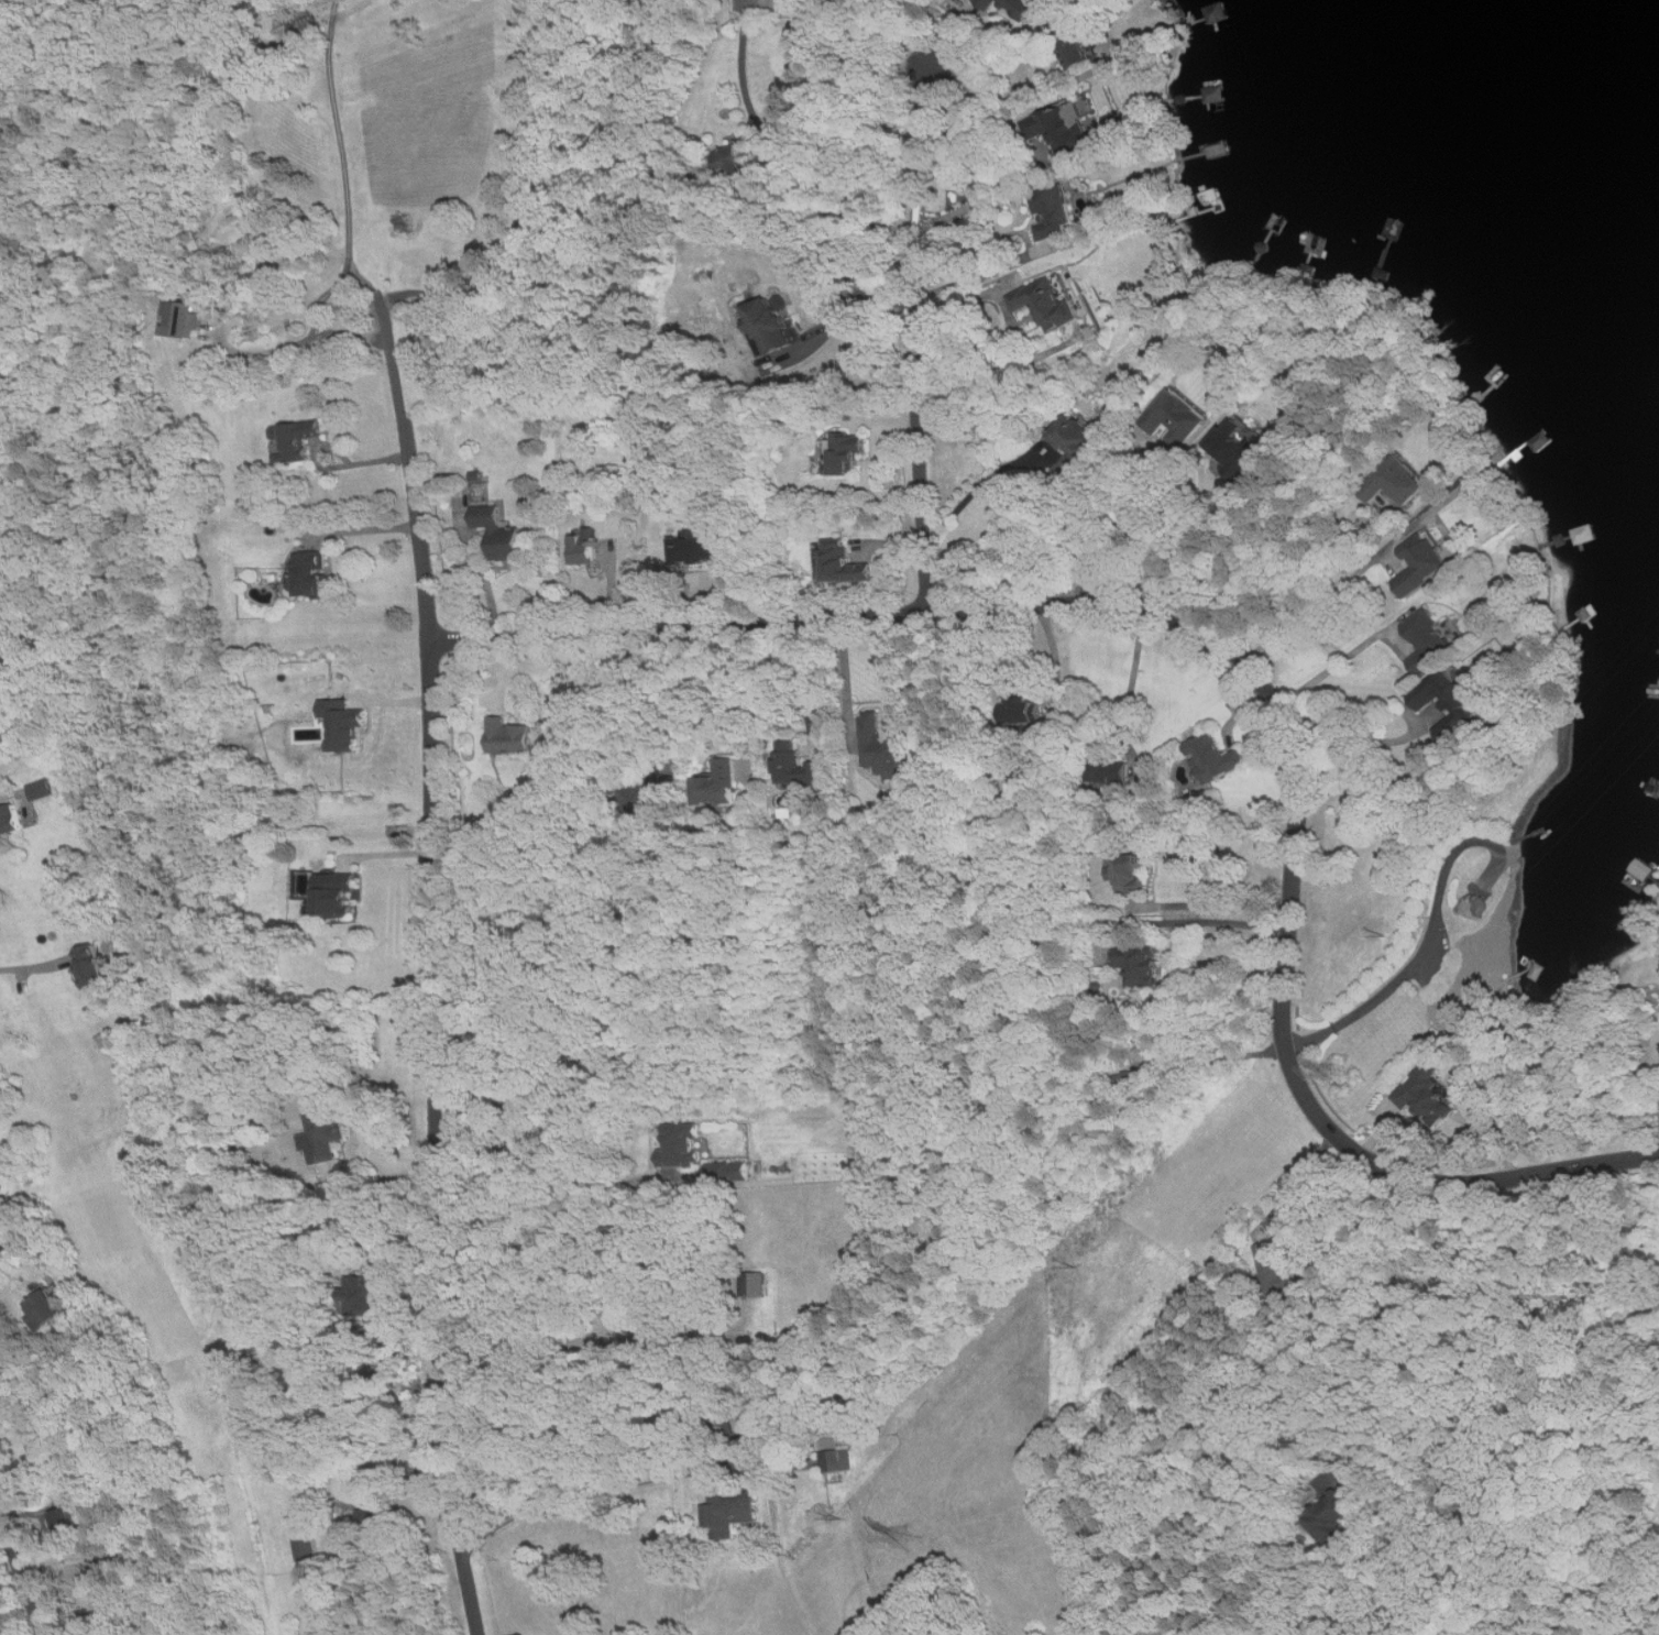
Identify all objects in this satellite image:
building: (990, 3)
building: (794, 4)
building: (1023, 7)
building: (1078, 50)
road: (1014, 99)
building: (1068, 129)
road: (342, 140)
road: (782, 153)
road: (985, 195)
road: (528, 196)
building: (1055, 217)
road: (974, 277)
road: (320, 297)
road: (852, 306)
building: (184, 317)
building: (771, 325)
road: (1011, 332)
road: (916, 338)
building: (1175, 418)
building: (1079, 436)
building: (298, 437)
building: (1241, 443)
building: (845, 451)
road: (339, 465)
building: (1396, 482)
road: (982, 484)
road: (1150, 497)
road: (363, 529)
building: (499, 531)
road: (1190, 540)
building: (700, 544)
building: (583, 547)
building: (1422, 562)
building: (846, 566)
road: (484, 570)
building: (309, 573)
road: (1308, 592)
road: (1316, 606)
building: (1428, 640)
road: (1057, 656)
road: (1248, 665)
road: (1330, 668)
road: (846, 677)
road: (1133, 678)
road: (789, 684)
road: (647, 693)
building: (1449, 699)
road: (747, 700)
building: (1024, 710)
building: (343, 724)
building: (508, 736)
building: (886, 747)
road: (1351, 753)
building: (1213, 757)
building: (796, 766)
building: (1113, 772)
building: (722, 782)
building: (42, 790)
building: (657, 793)
road: (9, 797)
building: (12, 820)
building: (1644, 869)
building: (1128, 875)
building: (337, 896)
road: (1233, 904)
road: (1201, 920)
road: (1426, 944)
building: (1139, 964)
building: (94, 966)
road: (32, 967)
road: (432, 972)
road: (1217, 1057)
power tower: (1343, 1072)
building: (1428, 1094)
building: (326, 1134)
building: (684, 1149)
road: (548, 1157)
building: (728, 1171)
road: (1298, 1178)
building: (1, 1184)
building: (1274, 1268)
building: (755, 1284)
building: (366, 1293)
building: (46, 1309)
road: (1384, 1309)
building: (726, 1425)
building: (43, 1446)
building: (838, 1461)
building: (29, 1472)
road: (584, 1500)
building: (728, 1507)
building: (383, 1512)
building: (1333, 1514)
road: (0, 1515)
building: (69, 1515)
power tower: (905, 1538)
building: (306, 1548)
road: (21, 1573)

